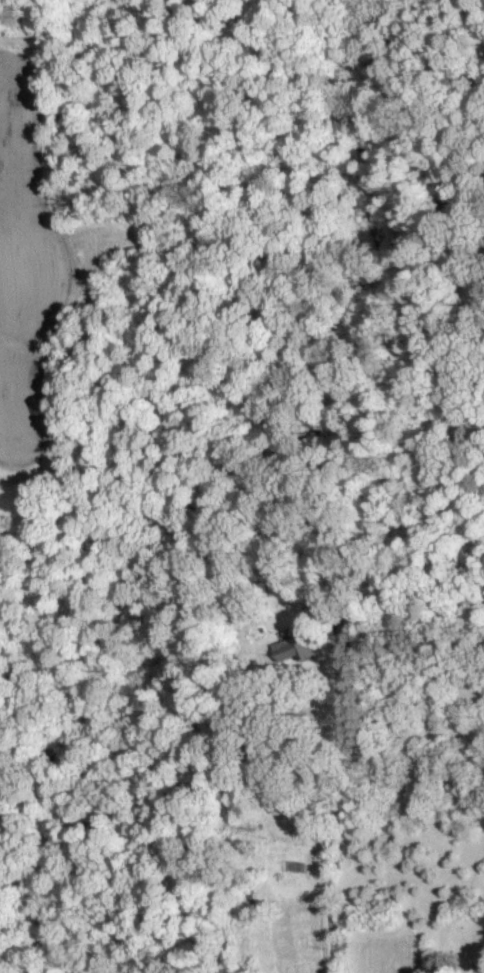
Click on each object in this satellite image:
building: (287, 649)
road: (313, 952)

